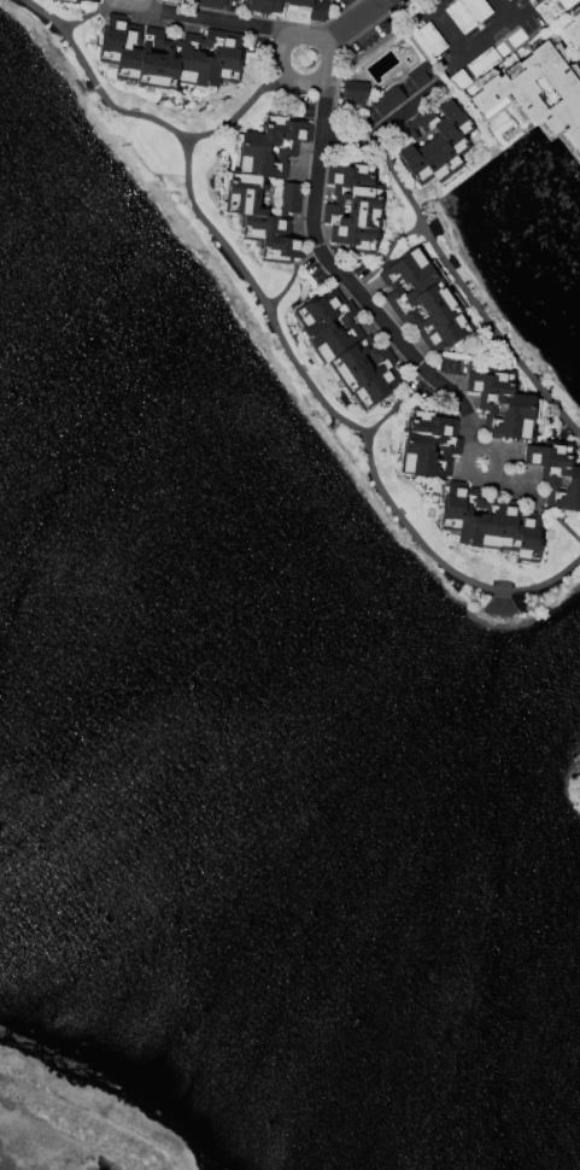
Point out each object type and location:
building: (65, 0)
building: (93, 0)
road: (146, 2)
building: (207, 4)
road: (439, 5)
road: (505, 8)
building: (316, 11)
road: (83, 18)
road: (229, 23)
building: (573, 30)
road: (467, 52)
building: (169, 55)
building: (383, 89)
building: (538, 93)
road: (172, 133)
building: (433, 144)
building: (246, 188)
building: (289, 197)
building: (351, 207)
road: (312, 216)
road: (451, 268)
building: (421, 299)
building: (346, 349)
building: (502, 404)
road: (345, 420)
building: (427, 443)
building: (556, 474)
building: (490, 521)

